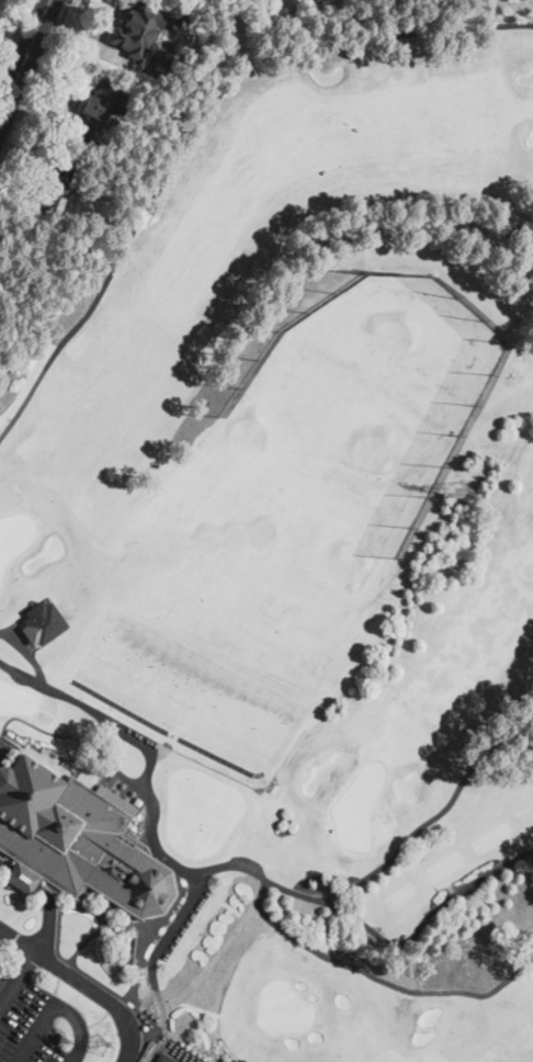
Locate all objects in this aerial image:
building: (138, 29)
road: (15, 37)
road: (24, 59)
road: (34, 81)
building: (102, 102)
building: (84, 129)
building: (55, 185)
power tower: (458, 492)
park: (313, 520)
building: (43, 622)
building: (78, 840)
road: (382, 865)
building: (23, 879)
road: (45, 896)
building: (133, 949)
road: (18, 980)
road: (84, 984)
road: (55, 1002)
parking lot: (38, 1025)
power tower: (99, 1046)
building: (163, 1059)

